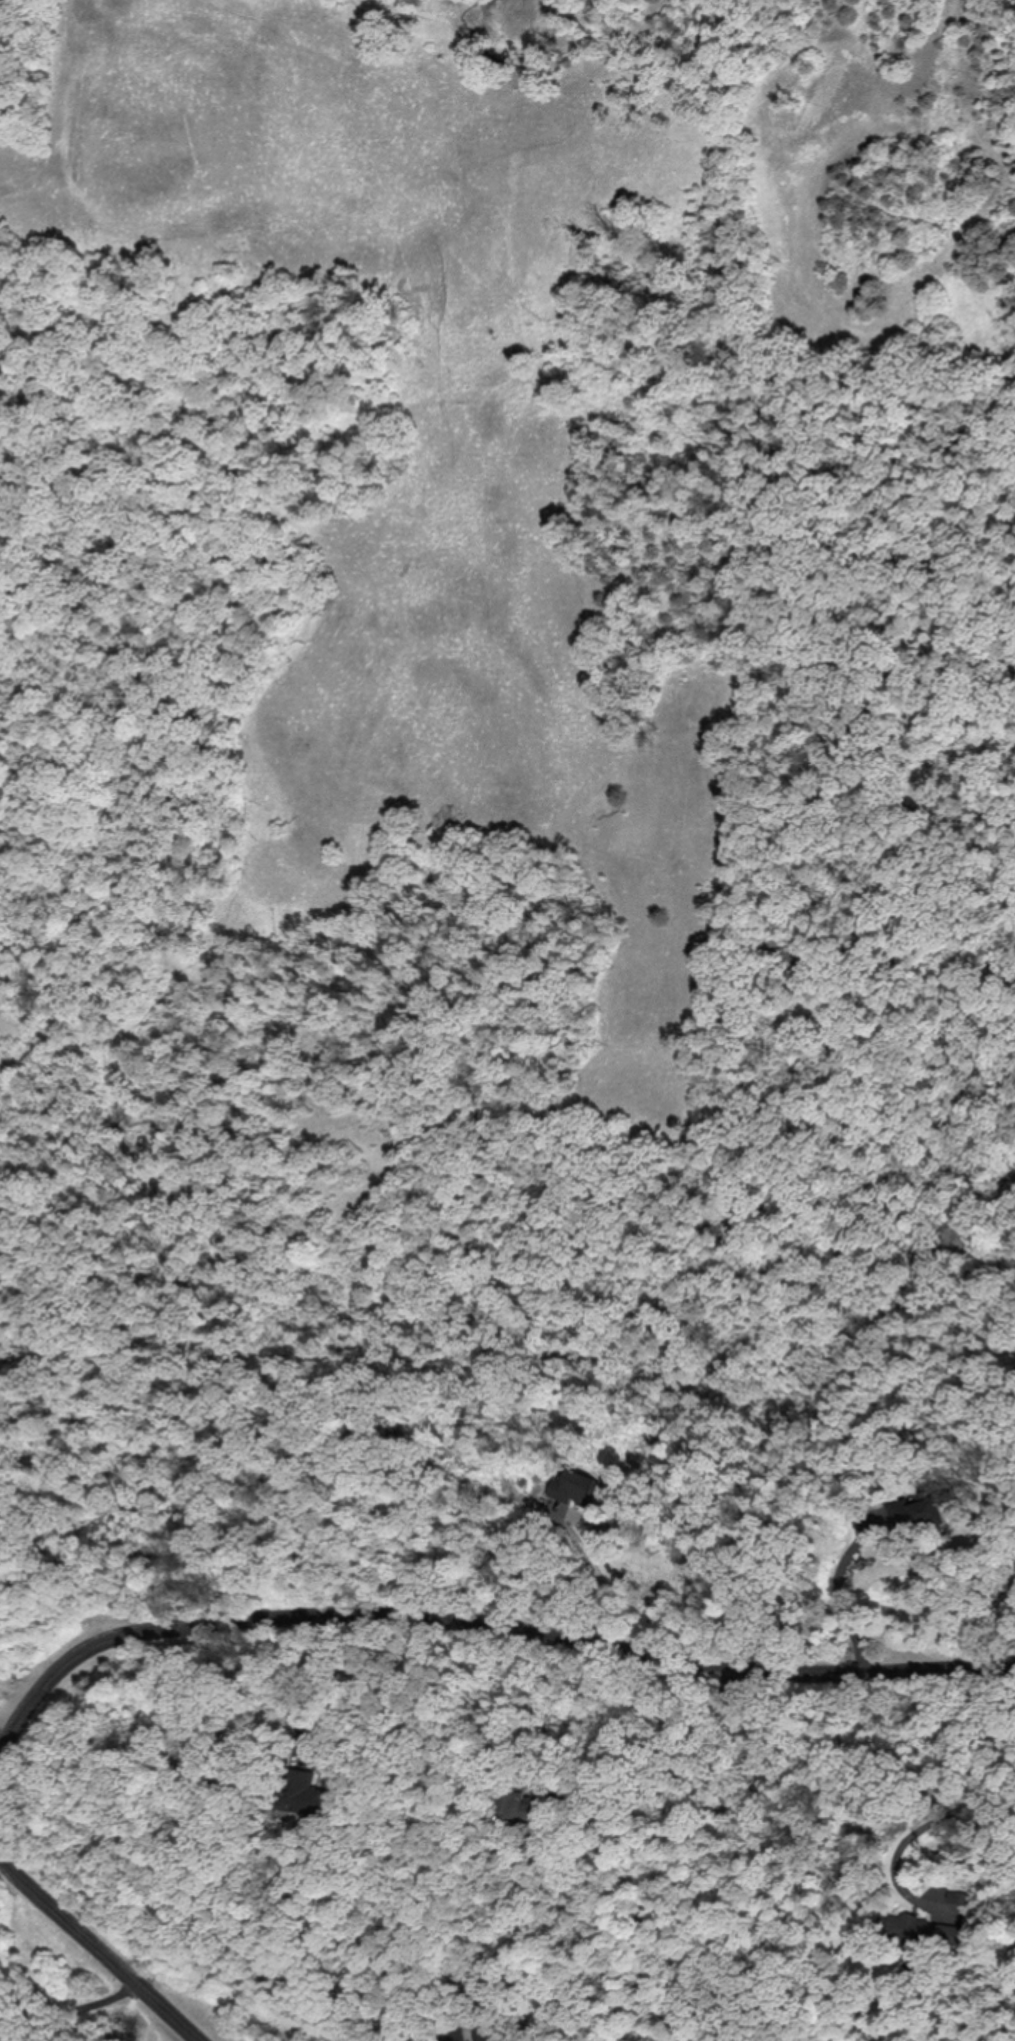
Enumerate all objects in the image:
building: (931, 1512)
road: (592, 1581)
road: (836, 1598)
road: (490, 1626)
road: (232, 1703)
road: (1, 1742)
road: (1, 1745)
road: (684, 1753)
building: (300, 1787)
building: (514, 1799)
road: (943, 1811)
building: (911, 1928)
road: (100, 1949)
road: (77, 2009)
building: (486, 2033)

